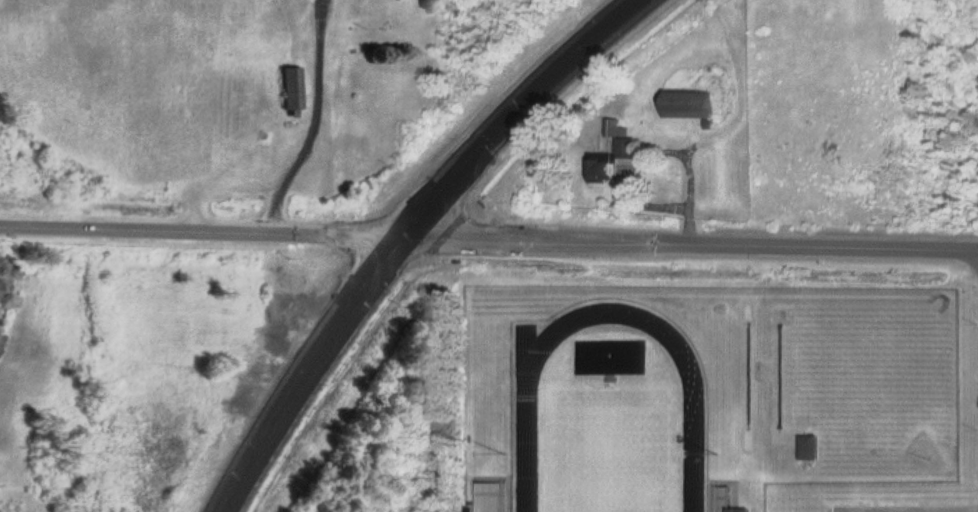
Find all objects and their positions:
building: (292, 87)
building: (698, 104)
road: (513, 111)
building: (616, 161)
road: (199, 232)
road: (688, 241)
road: (299, 369)
park: (611, 446)
building: (811, 446)
track: (695, 453)
building: (494, 496)
building: (746, 509)
building: (726, 511)

